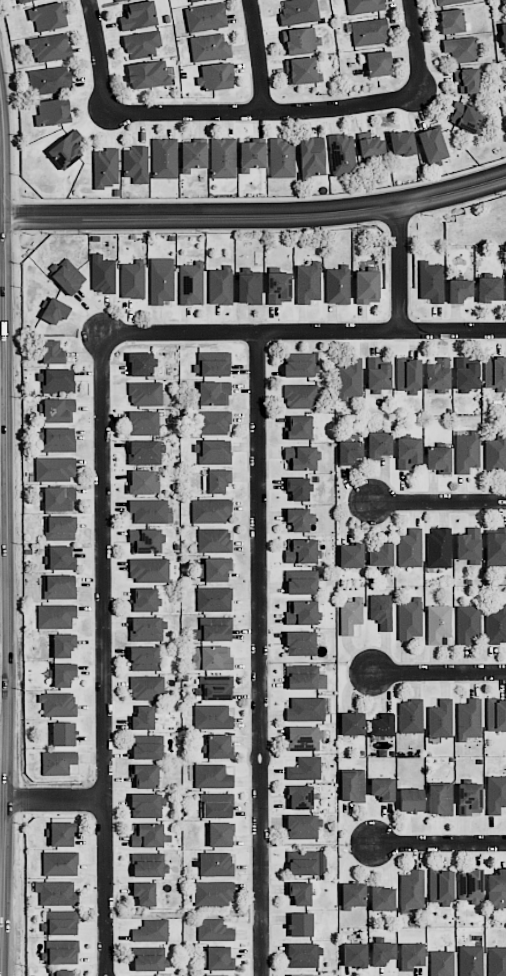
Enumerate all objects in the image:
building: (116, 0)
building: (194, 0)
building: (22, 1)
building: (449, 1)
building: (364, 6)
building: (299, 11)
building: (47, 16)
building: (138, 16)
building: (205, 17)
building: (451, 21)
building: (369, 31)
building: (503, 33)
building: (300, 41)
building: (141, 44)
building: (50, 47)
building: (209, 47)
road: (415, 47)
building: (460, 49)
road: (257, 55)
road: (97, 56)
building: (378, 63)
building: (302, 70)
building: (148, 74)
building: (215, 76)
building: (505, 77)
building: (49, 80)
building: (467, 80)
building: (52, 112)
road: (262, 112)
building: (466, 117)
building: (401, 143)
building: (369, 144)
building: (432, 144)
building: (66, 149)
building: (252, 154)
building: (342, 154)
building: (193, 156)
building: (311, 156)
building: (164, 158)
building: (223, 158)
building: (281, 158)
building: (136, 163)
building: (105, 167)
road: (255, 216)
road: (400, 268)
building: (67, 275)
building: (102, 275)
building: (132, 279)
building: (161, 280)
building: (307, 282)
building: (431, 282)
building: (191, 283)
building: (220, 285)
building: (337, 285)
building: (366, 286)
building: (278, 287)
building: (249, 288)
building: (489, 289)
building: (459, 290)
building: (55, 311)
road: (304, 331)
building: (52, 352)
building: (140, 364)
building: (212, 364)
building: (300, 365)
building: (438, 373)
building: (495, 373)
building: (378, 374)
building: (466, 374)
building: (408, 375)
building: (56, 380)
building: (349, 380)
building: (145, 393)
building: (213, 393)
building: (301, 396)
building: (58, 410)
building: (145, 422)
building: (213, 422)
building: (298, 427)
building: (57, 439)
building: (378, 444)
building: (466, 450)
building: (212, 451)
building: (349, 451)
building: (145, 452)
building: (408, 453)
building: (495, 454)
building: (300, 457)
building: (439, 459)
building: (54, 468)
building: (216, 480)
building: (144, 481)
building: (297, 488)
building: (59, 498)
road: (439, 501)
building: (150, 510)
building: (211, 510)
building: (299, 519)
building: (60, 527)
road: (259, 539)
building: (214, 540)
building: (145, 541)
building: (468, 545)
building: (495, 546)
building: (439, 547)
building: (409, 548)
building: (301, 551)
building: (381, 554)
building: (350, 555)
building: (60, 558)
building: (148, 569)
building: (214, 569)
building: (301, 581)
building: (59, 587)
building: (214, 599)
building: (144, 600)
building: (381, 611)
building: (301, 612)
building: (55, 615)
building: (350, 615)
building: (410, 619)
building: (438, 623)
building: (468, 624)
building: (496, 625)
building: (147, 628)
building: (213, 629)
building: (300, 643)
building: (63, 645)
road: (104, 654)
building: (211, 657)
building: (144, 658)
road: (440, 672)
building: (63, 674)
building: (305, 677)
building: (148, 687)
building: (214, 688)
building: (58, 704)
building: (306, 709)
building: (496, 714)
building: (410, 716)
building: (212, 717)
building: (142, 718)
building: (440, 719)
building: (469, 719)
building: (351, 723)
building: (382, 725)
building: (63, 733)
building: (303, 738)
building: (219, 746)
building: (147, 747)
road: (268, 756)
road: (254, 757)
building: (58, 762)
building: (305, 768)
building: (145, 775)
building: (212, 776)
building: (352, 785)
building: (382, 788)
building: (496, 794)
building: (300, 797)
building: (469, 798)
building: (440, 799)
road: (32, 800)
road: (84, 800)
building: (410, 800)
building: (147, 805)
building: (216, 805)
building: (303, 826)
road: (1, 832)
building: (61, 833)
building: (220, 834)
building: (148, 835)
road: (440, 842)
building: (306, 862)
building: (60, 863)
building: (148, 864)
building: (216, 864)
road: (262, 872)
building: (470, 885)
building: (441, 887)
building: (497, 888)
building: (411, 890)
building: (214, 892)
building: (300, 892)
building: (56, 893)
building: (143, 893)
building: (353, 894)
building: (382, 898)
building: (60, 922)
building: (300, 924)
building: (213, 929)
building: (151, 930)
building: (60, 952)
building: (382, 952)
building: (354, 954)
building: (303, 955)
building: (411, 956)
building: (216, 958)
building: (147, 959)
building: (470, 960)
building: (497, 961)
building: (441, 963)
building: (221, 975)
building: (307, 975)

